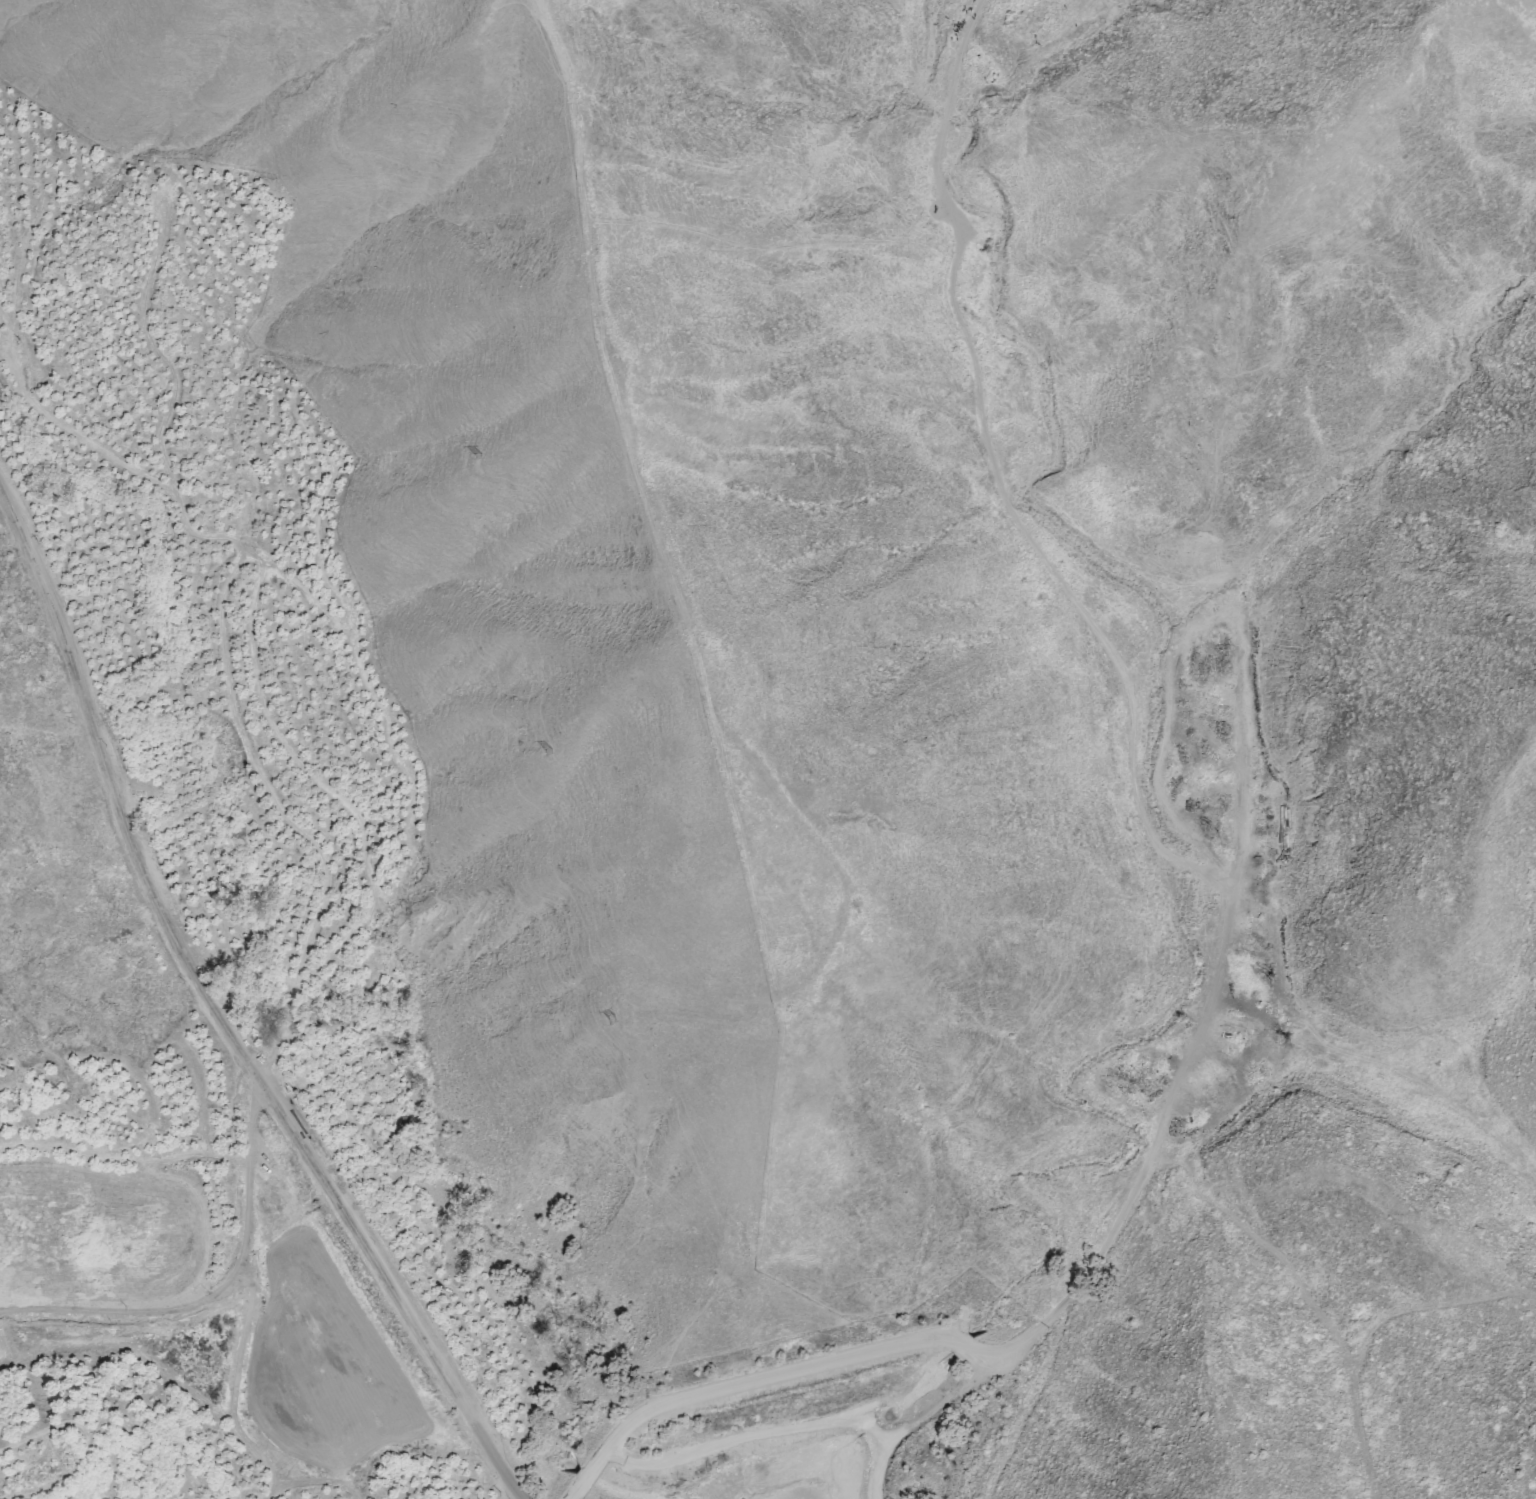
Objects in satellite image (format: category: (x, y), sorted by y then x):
road: (119, 793)
road: (1232, 904)
road: (393, 1289)
road: (221, 1292)

